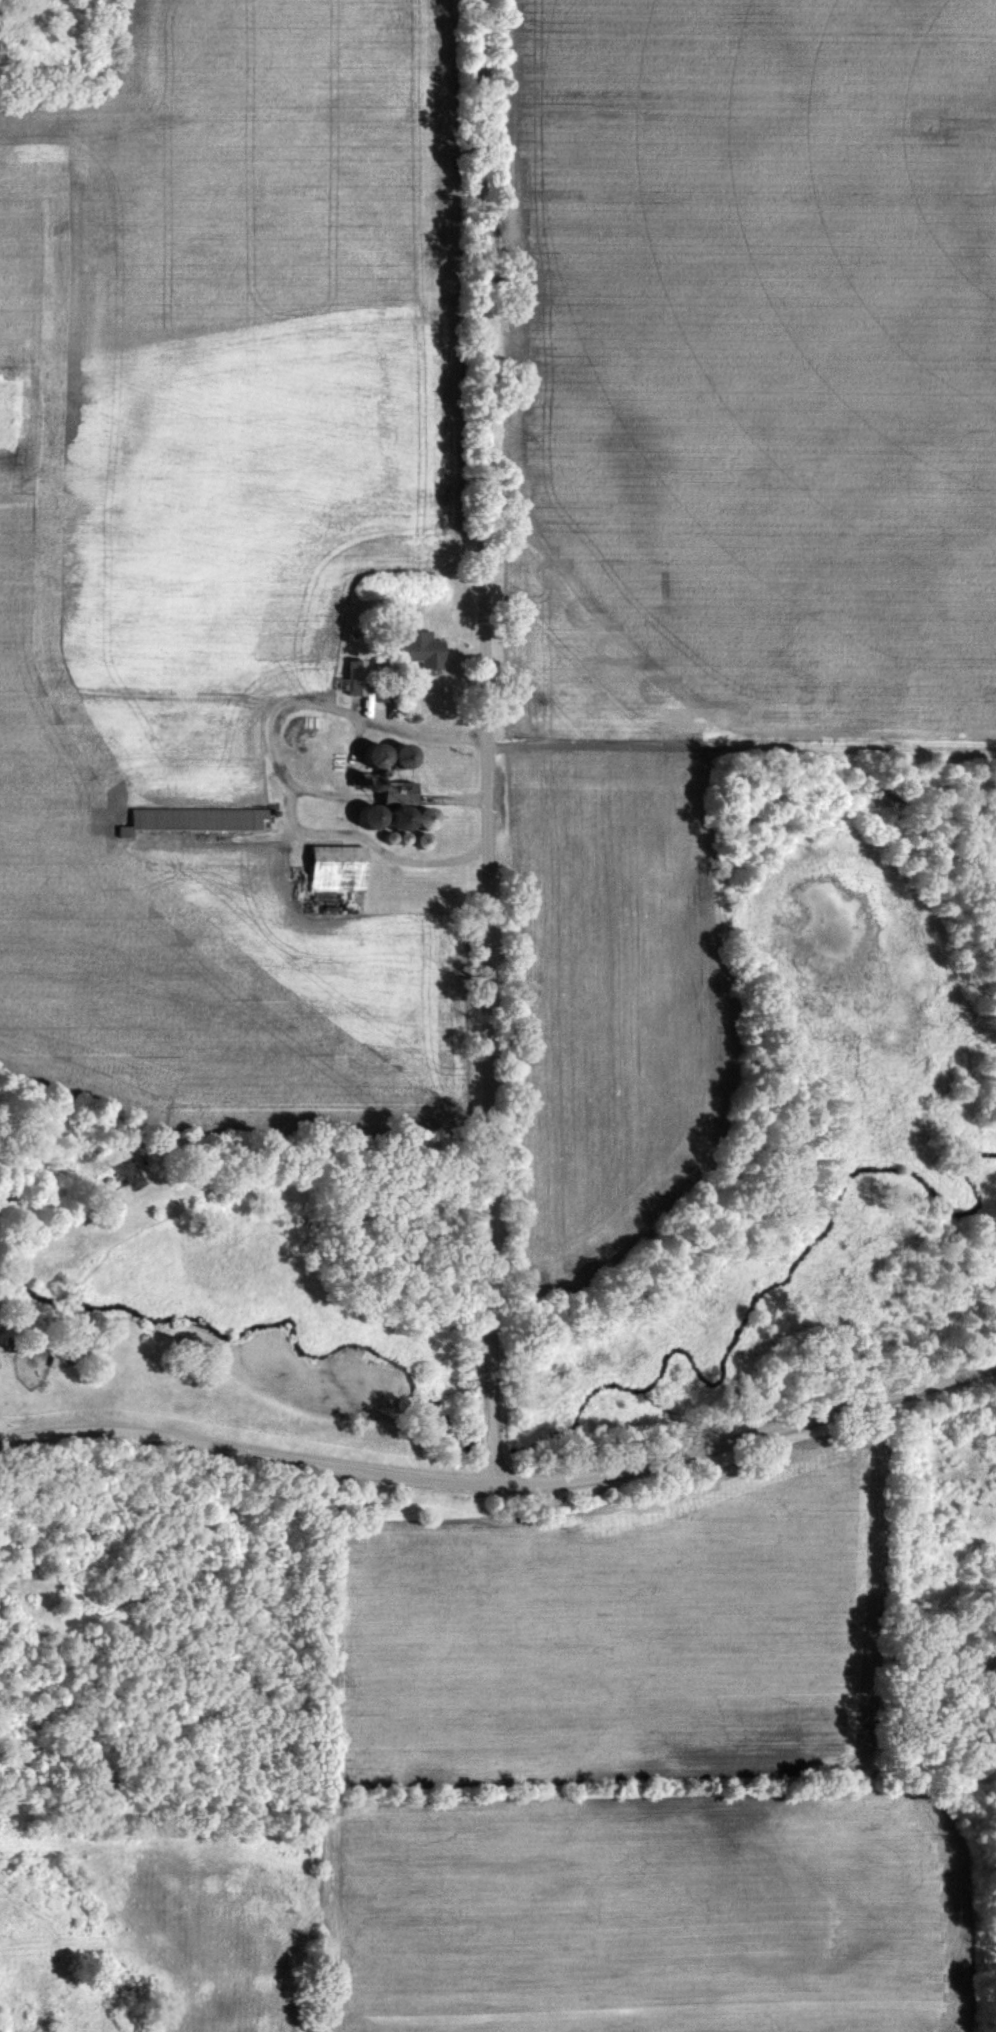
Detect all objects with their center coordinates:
building: (415, 650)
building: (351, 677)
road: (485, 741)
building: (392, 755)
road: (274, 769)
road: (341, 778)
road: (311, 793)
road: (455, 800)
building: (388, 802)
building: (414, 818)
building: (190, 820)
building: (333, 870)
road: (503, 1484)

